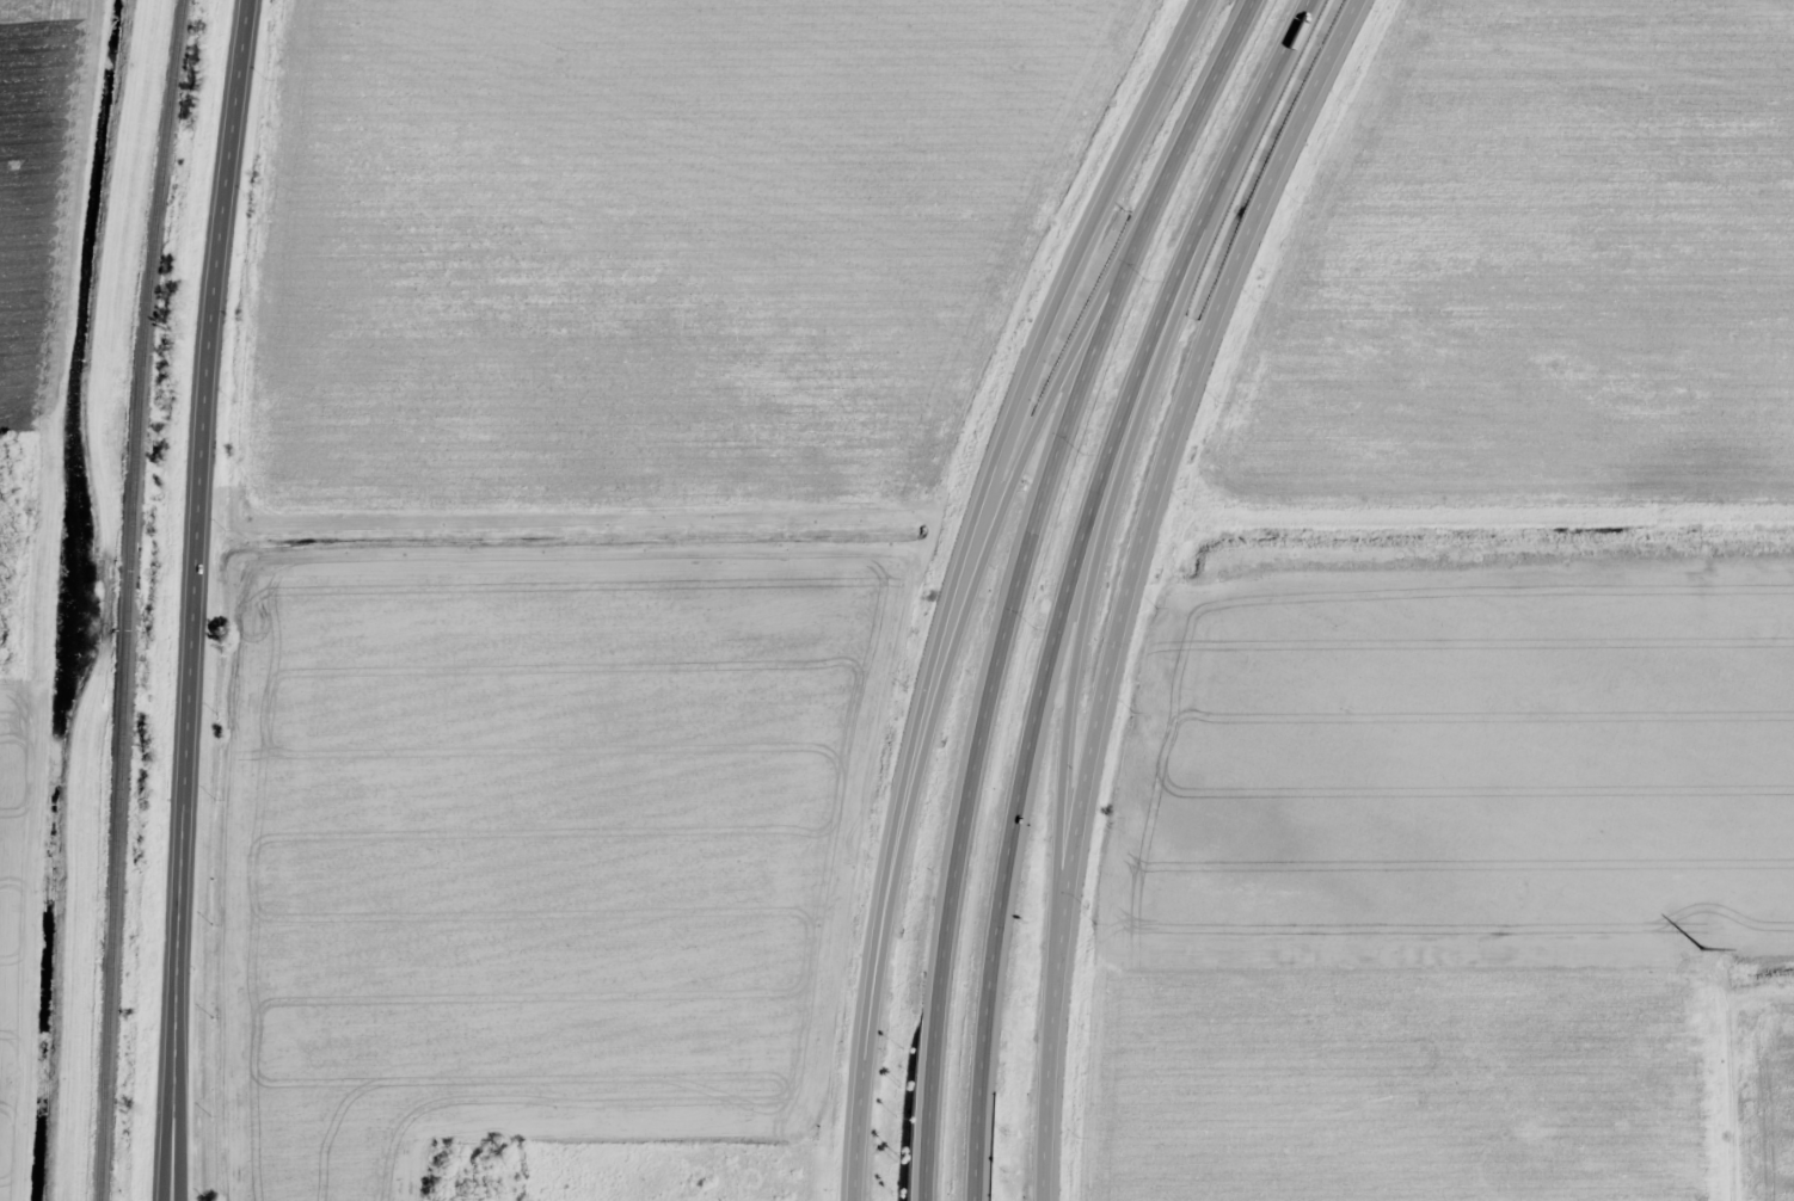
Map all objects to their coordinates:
road: (1188, 121)
road: (1018, 468)
road: (957, 579)
road: (1073, 580)
road: (1128, 580)
road: (191, 598)
railway: (125, 599)
road: (1076, 661)
road: (984, 713)
power tower: (1706, 944)
road: (33, 1068)

